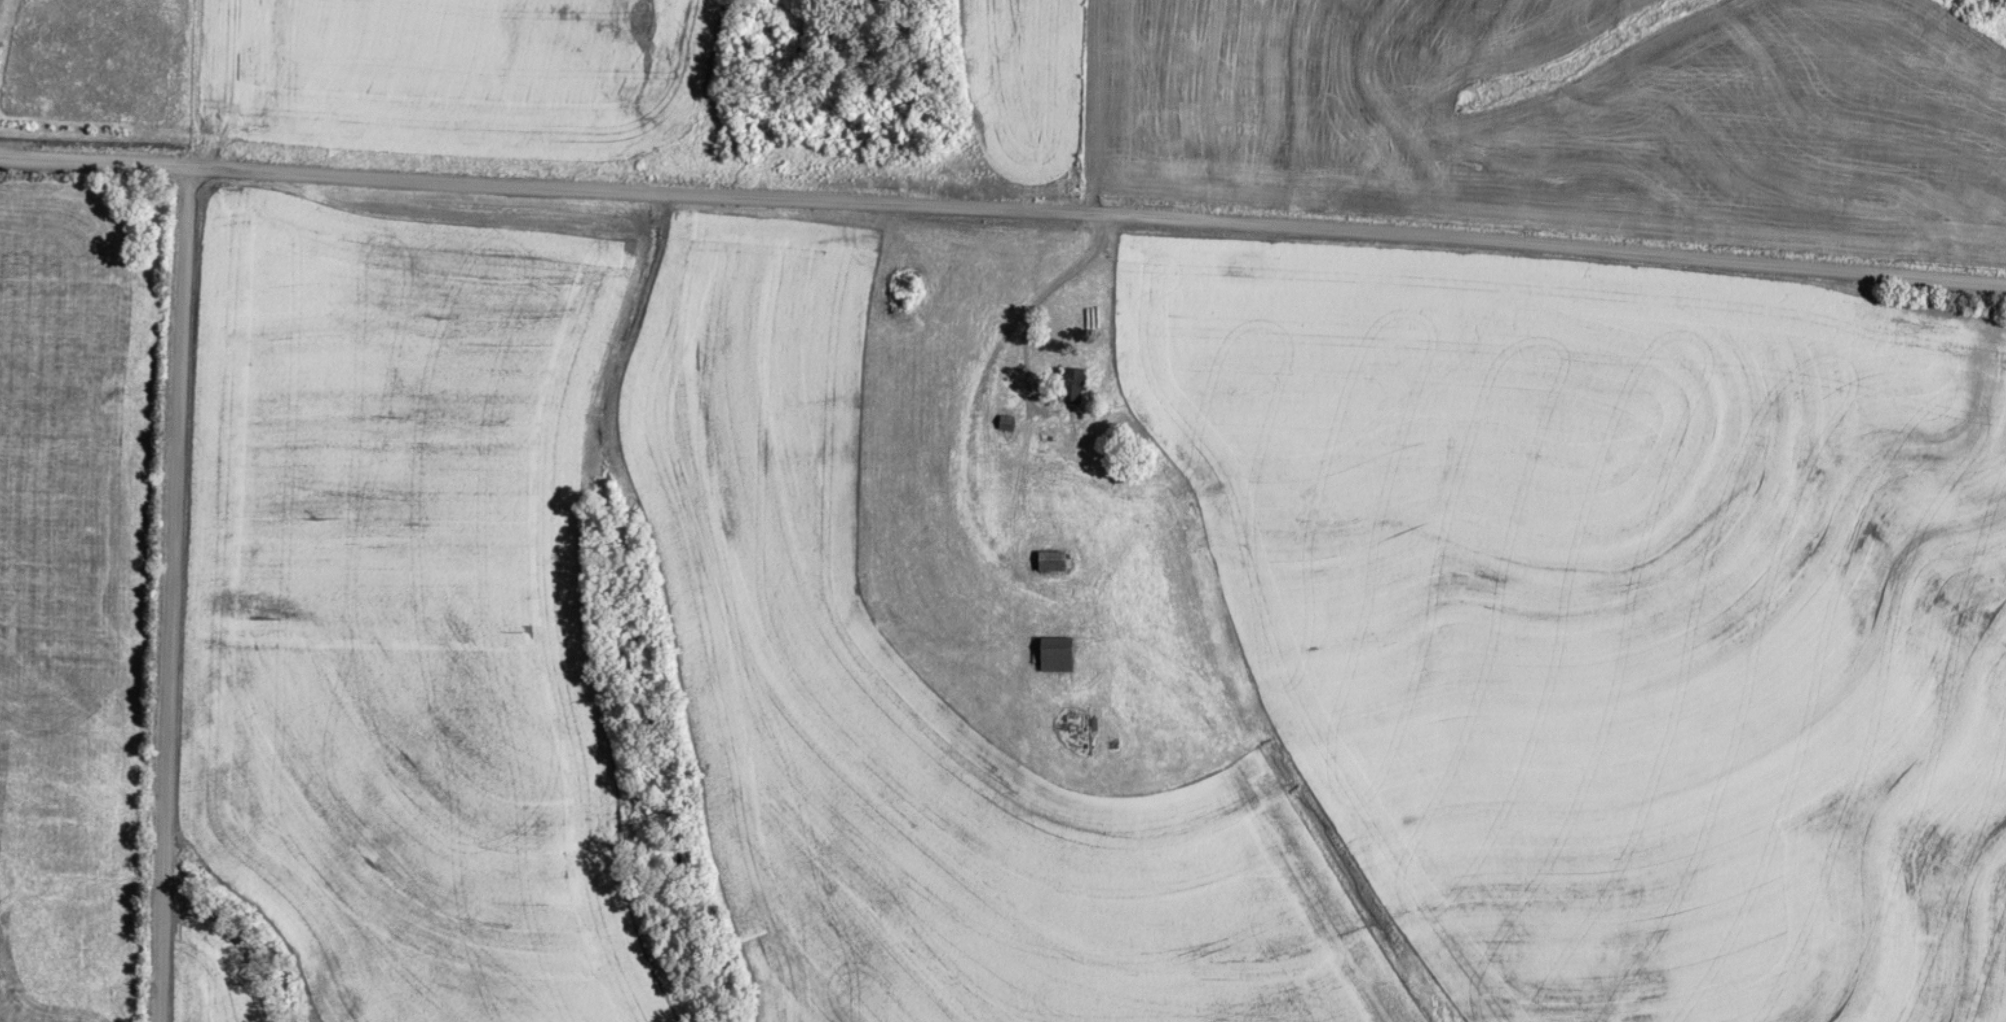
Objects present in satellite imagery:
road: (443, 180)
road: (991, 209)
road: (1551, 246)
road: (1020, 371)
building: (1069, 386)
building: (1001, 423)
building: (1044, 562)
road: (169, 592)
building: (1050, 657)

